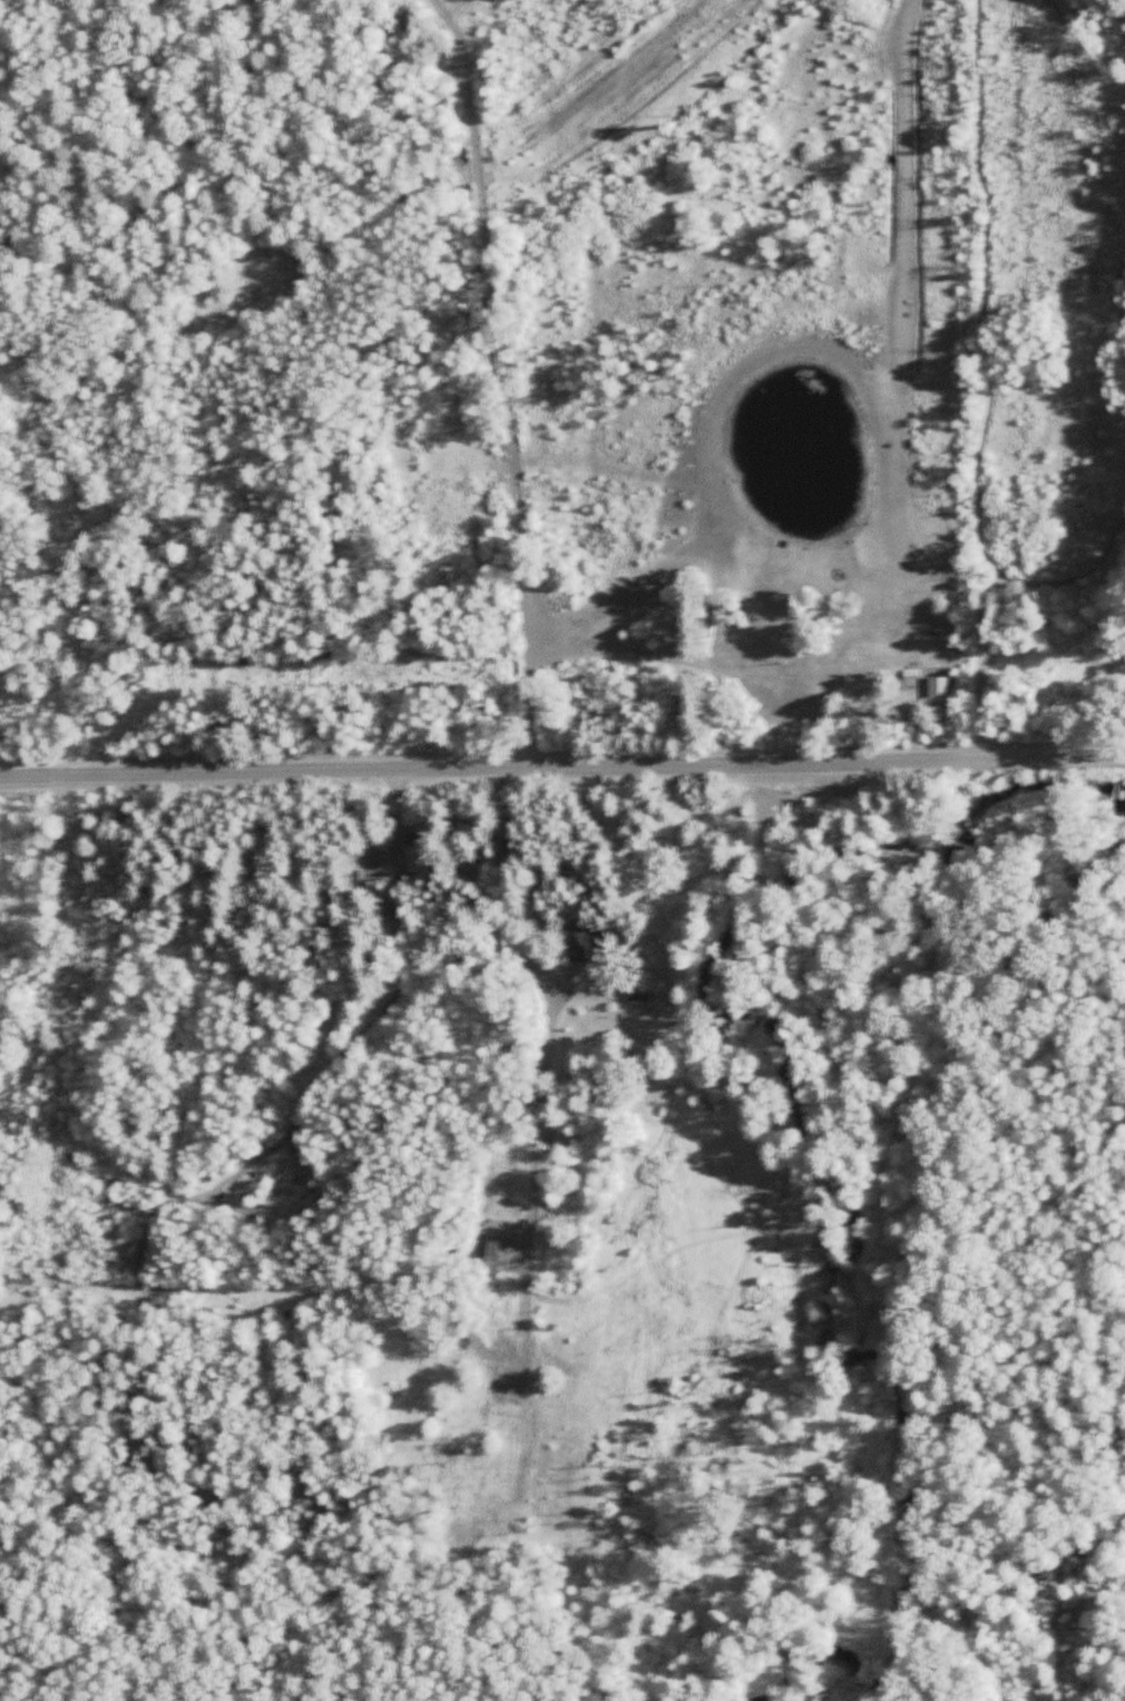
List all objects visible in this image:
road: (562, 764)
building: (419, 859)
building: (372, 863)
building: (580, 945)
building: (639, 986)
building: (375, 1007)
building: (322, 1047)
building: (562, 1143)
building: (284, 1189)

